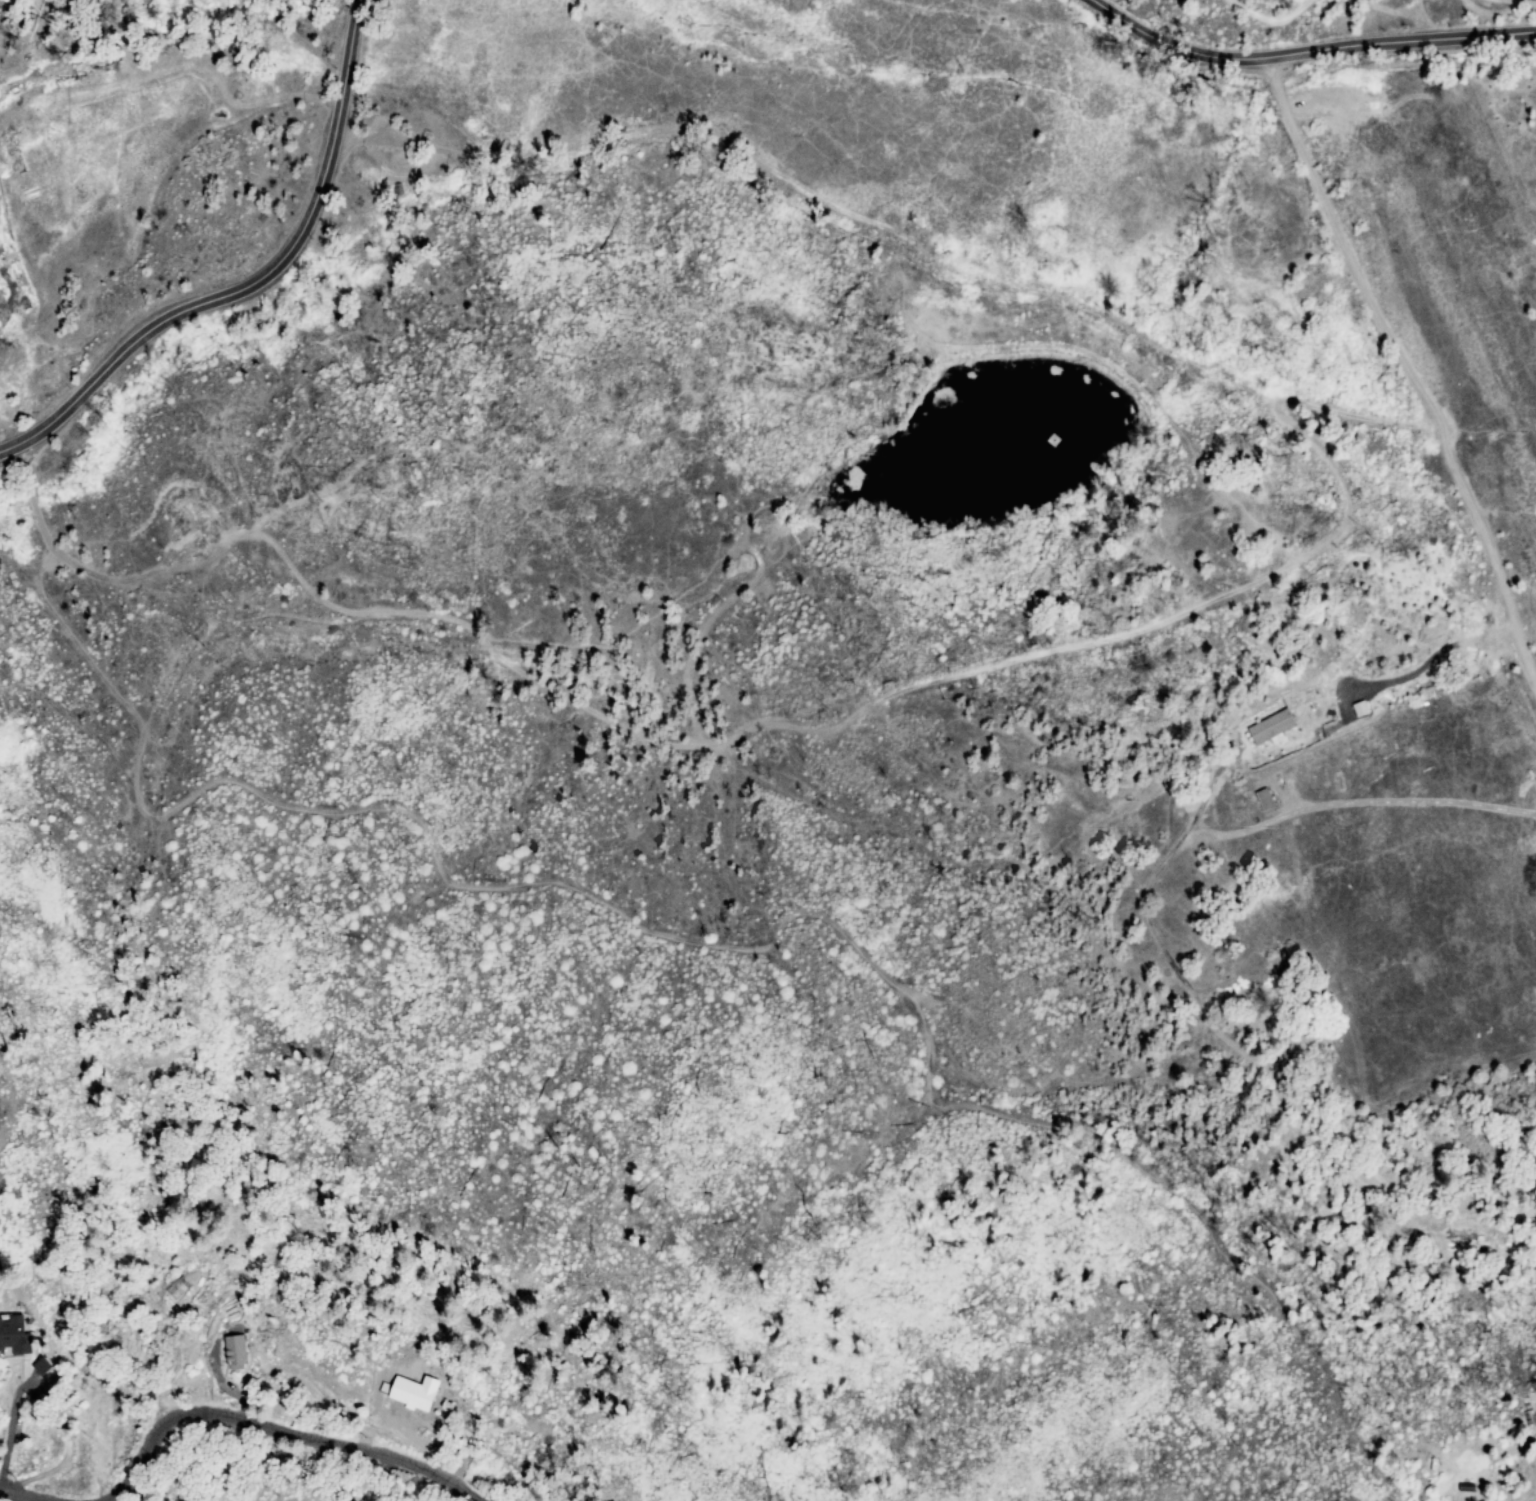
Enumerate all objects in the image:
road: (1306, 52)
road: (255, 281)
airport runway: (1481, 309)
road: (1406, 352)
building: (1270, 727)
road: (1331, 796)
building: (1263, 799)
road: (1272, 1072)
building: (14, 1342)
building: (233, 1349)
building: (223, 1356)
building: (39, 1366)
building: (390, 1385)
road: (278, 1431)
road: (13, 1440)
road: (12, 1499)

